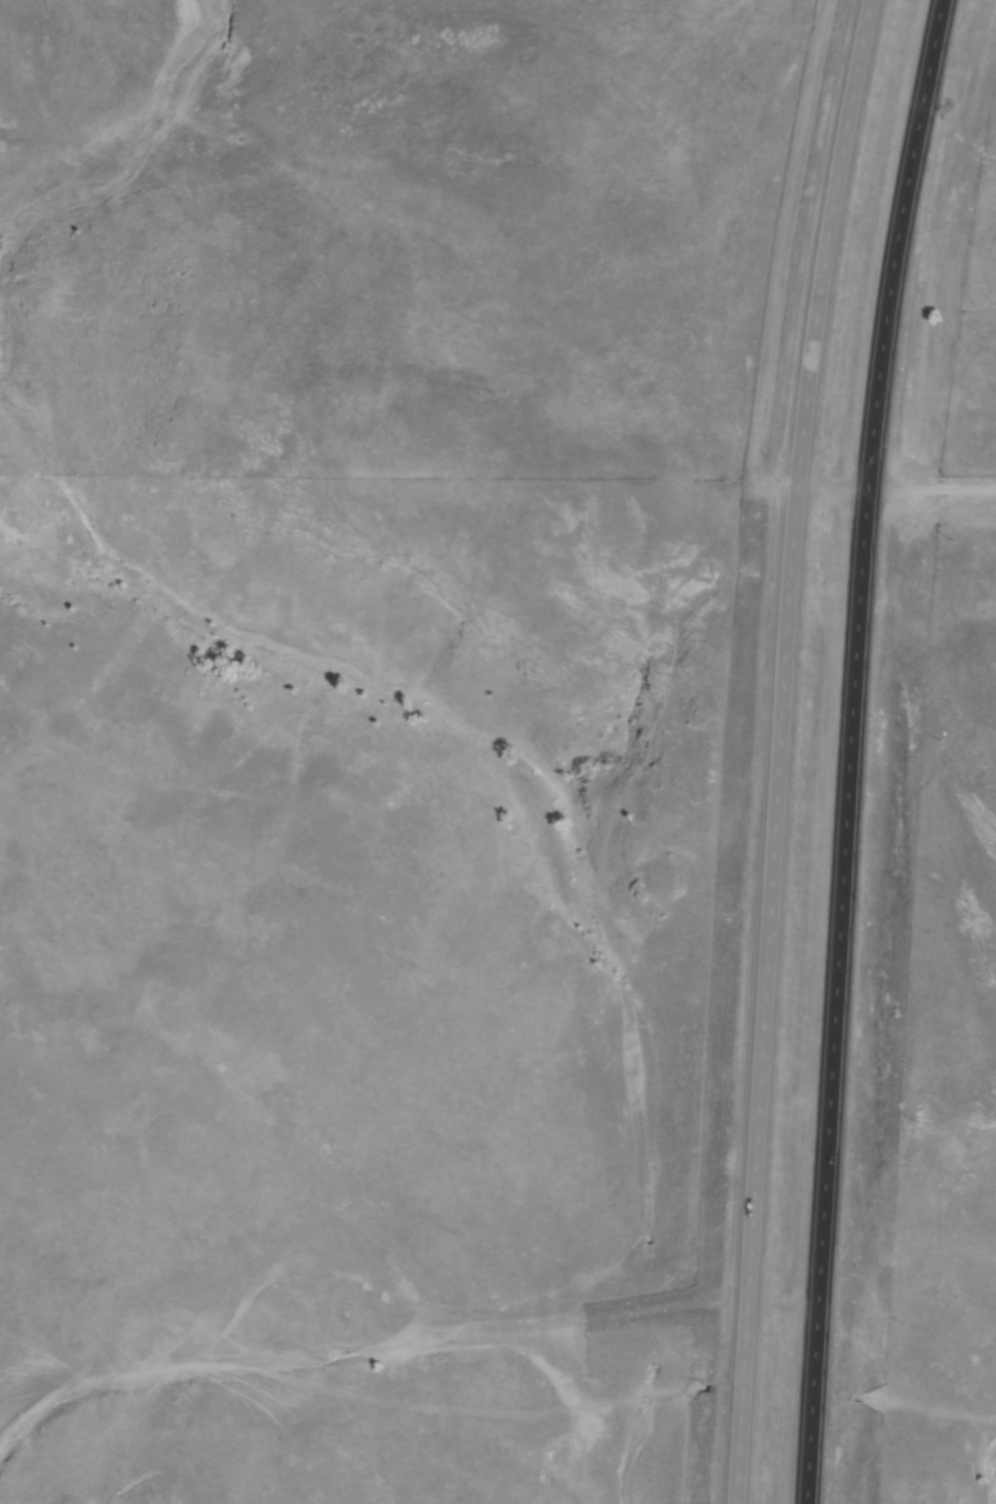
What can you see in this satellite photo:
road: (779, 749)
road: (850, 749)

